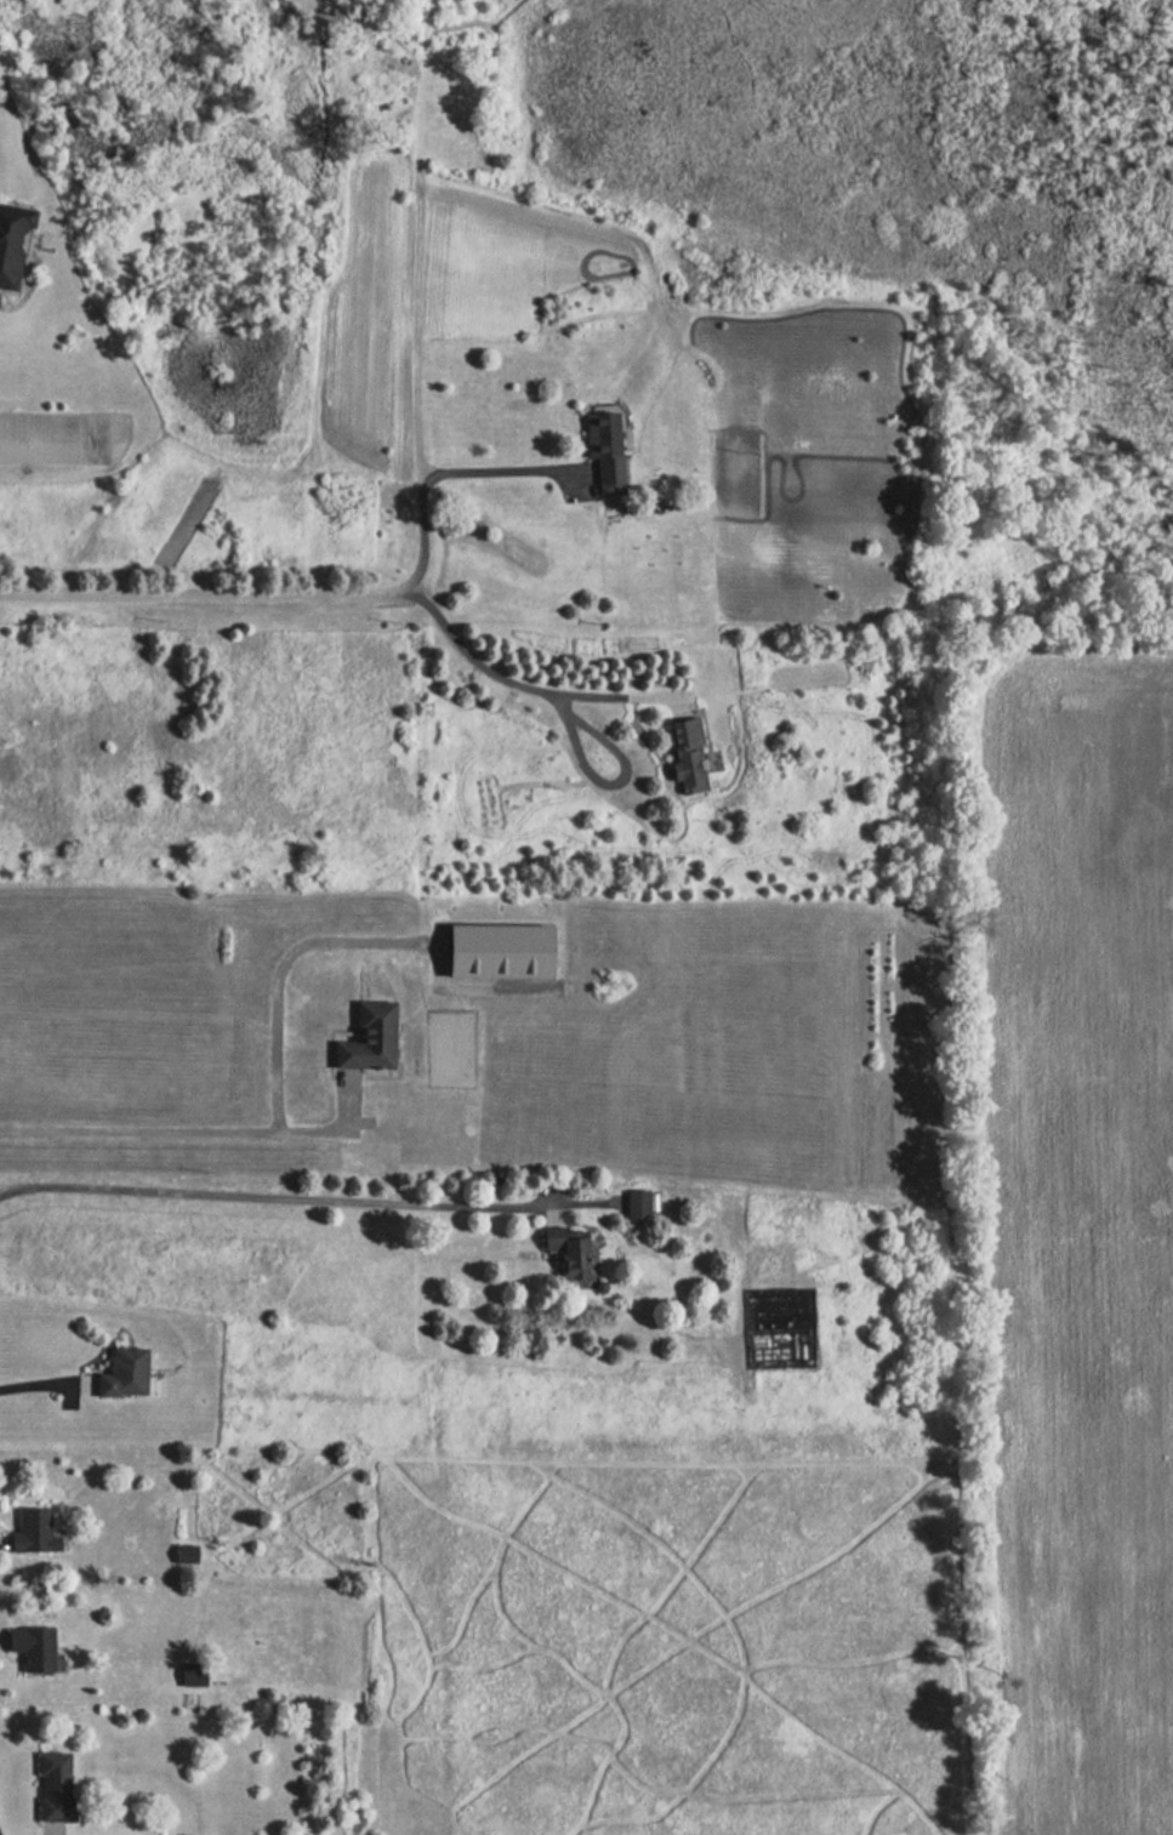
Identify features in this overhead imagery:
building: (11, 245)
building: (602, 445)
road: (428, 483)
road: (347, 592)
building: (684, 754)
building: (494, 952)
road: (283, 973)
building: (365, 1038)
road: (172, 1121)
road: (258, 1195)
building: (634, 1206)
building: (569, 1256)
building: (120, 1374)
road: (35, 1381)
building: (30, 1531)
building: (183, 1554)
building: (29, 1646)
building: (190, 1672)
building: (52, 1786)

